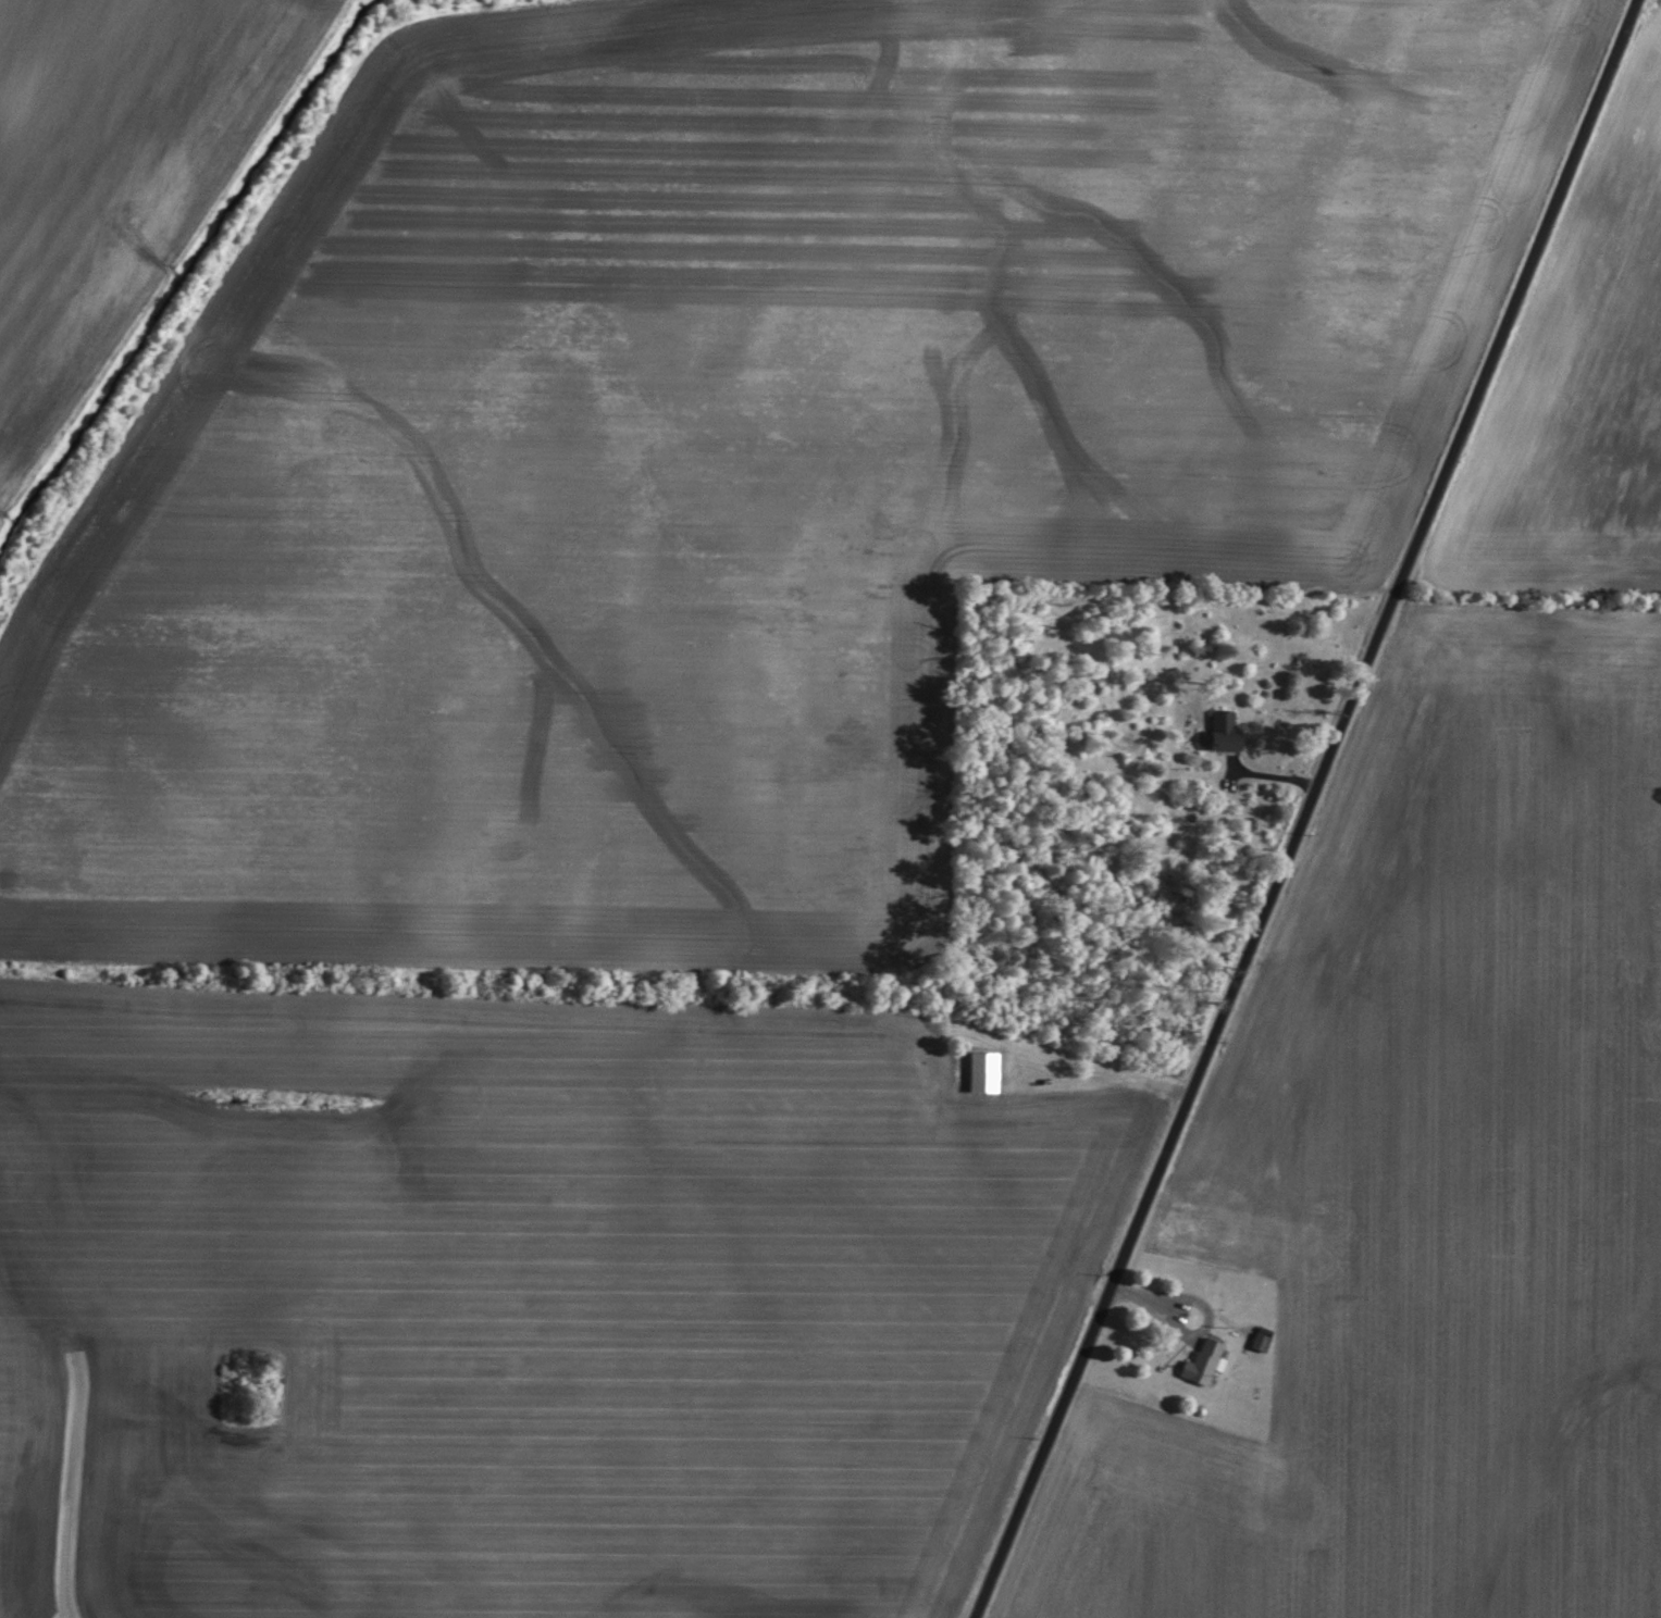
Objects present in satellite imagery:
building: (1217, 727)
road: (1304, 808)
building: (977, 1070)
building: (1254, 1340)
building: (1195, 1359)

